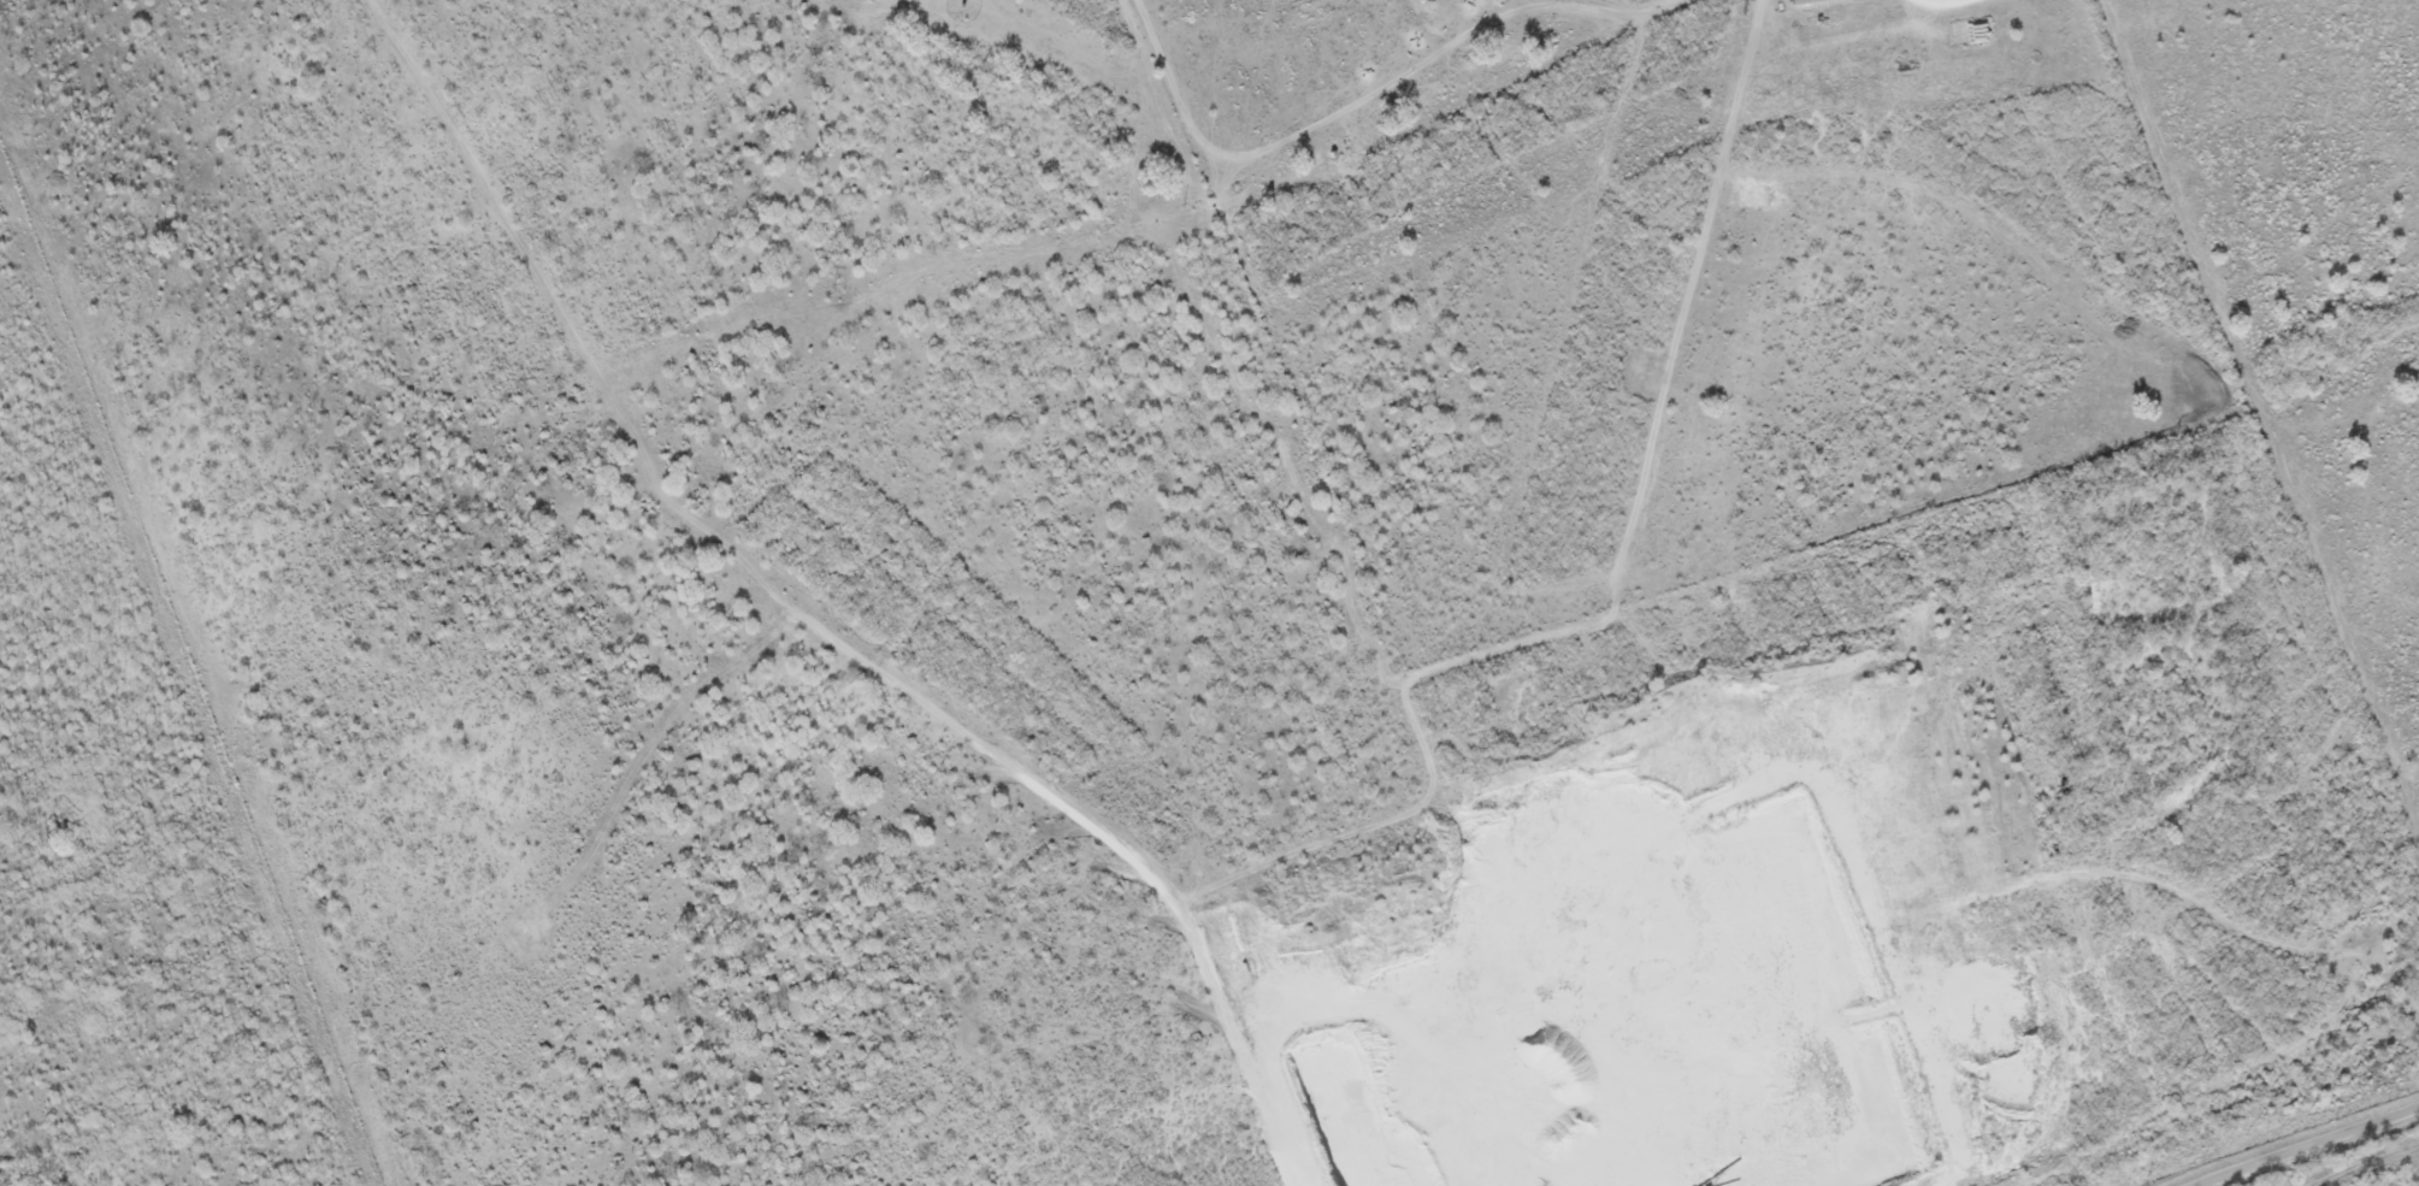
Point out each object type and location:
building: (1800, 1)
road: (2313, 1149)

